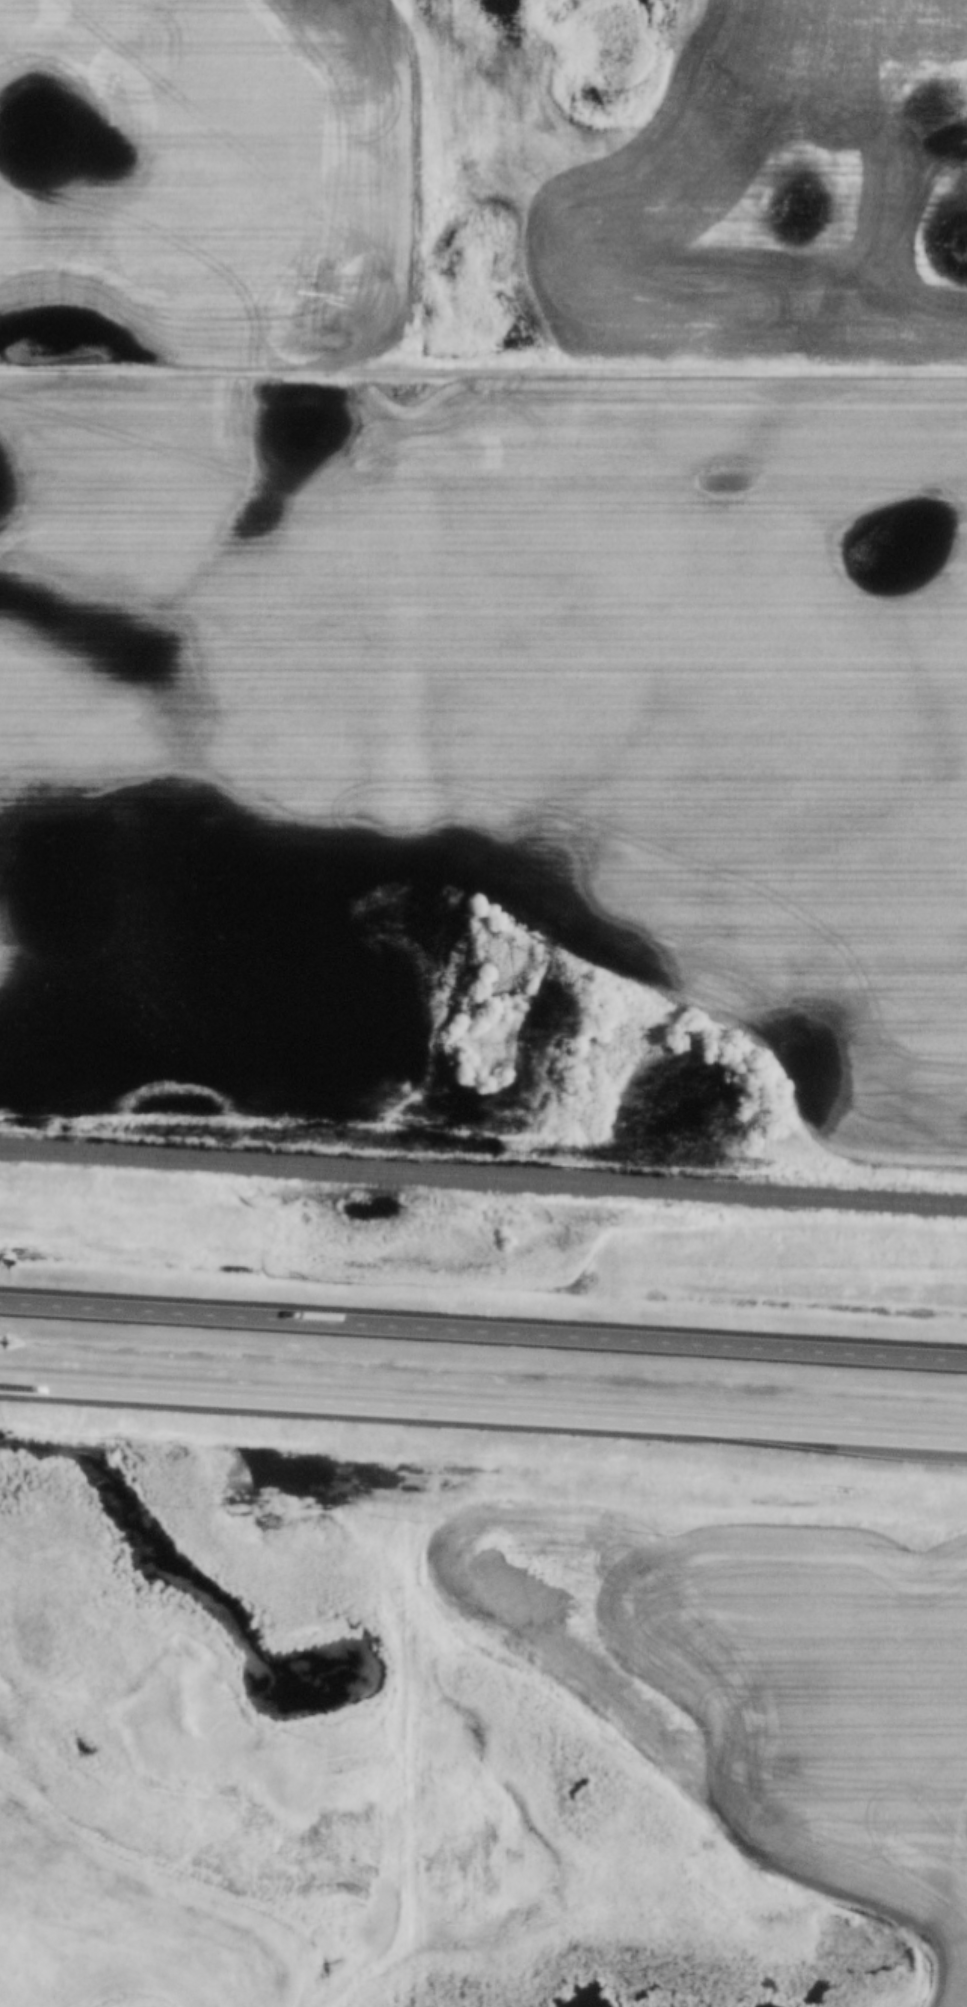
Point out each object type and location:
road: (483, 371)
railway: (483, 1178)
road: (483, 1330)
road: (483, 1411)

